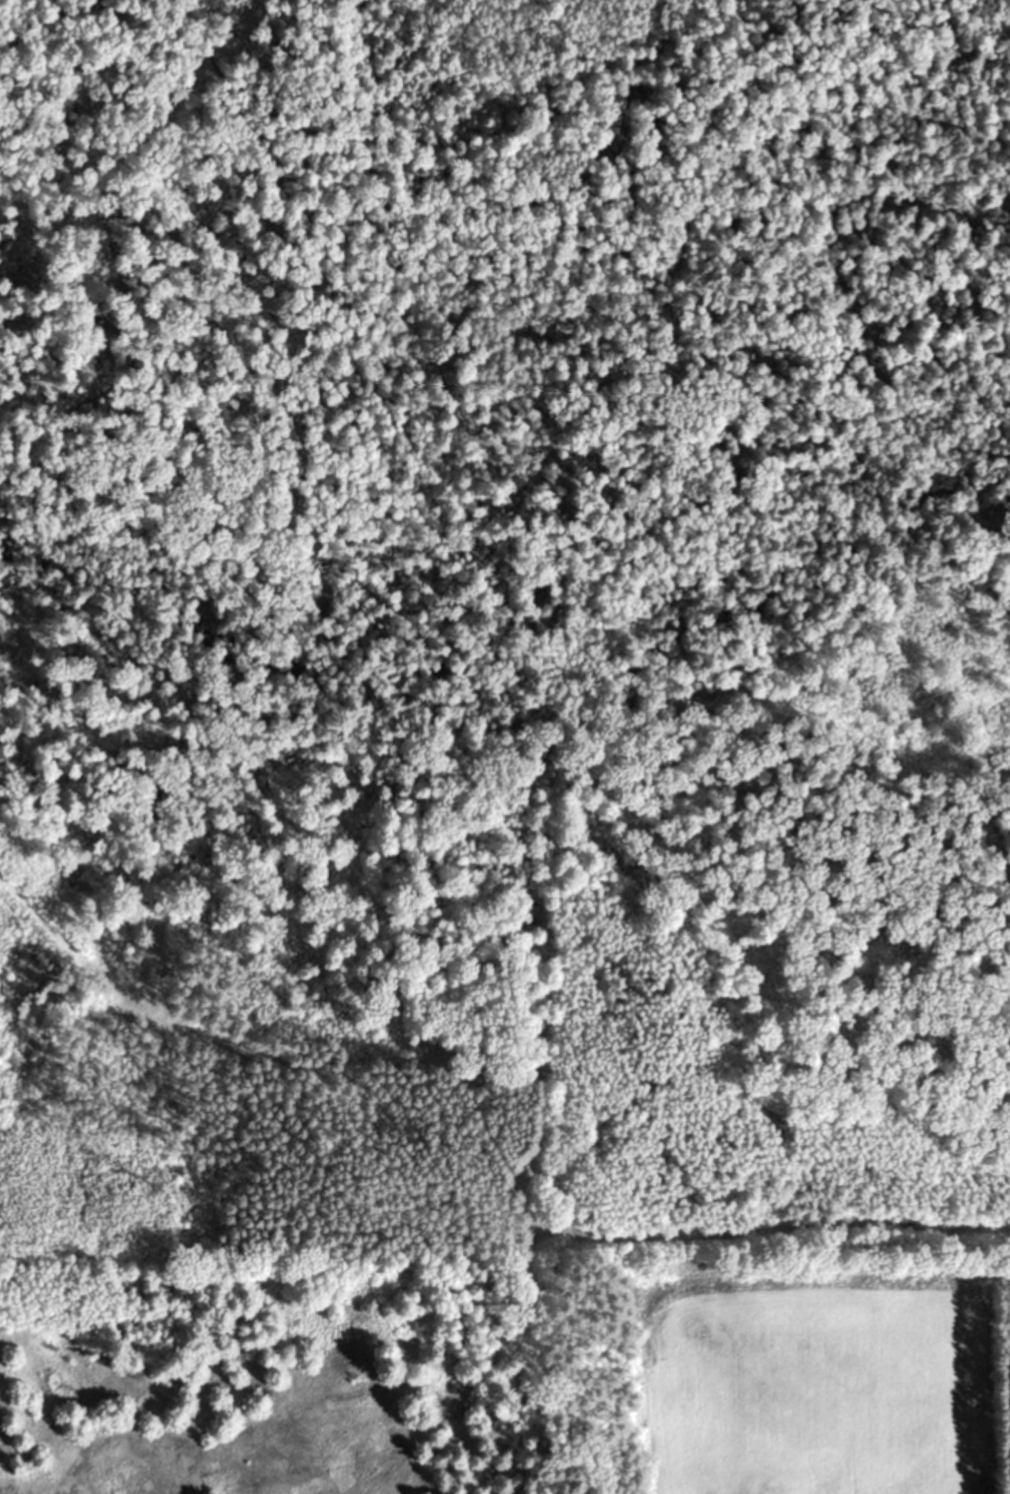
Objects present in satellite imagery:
building: (528, 916)

